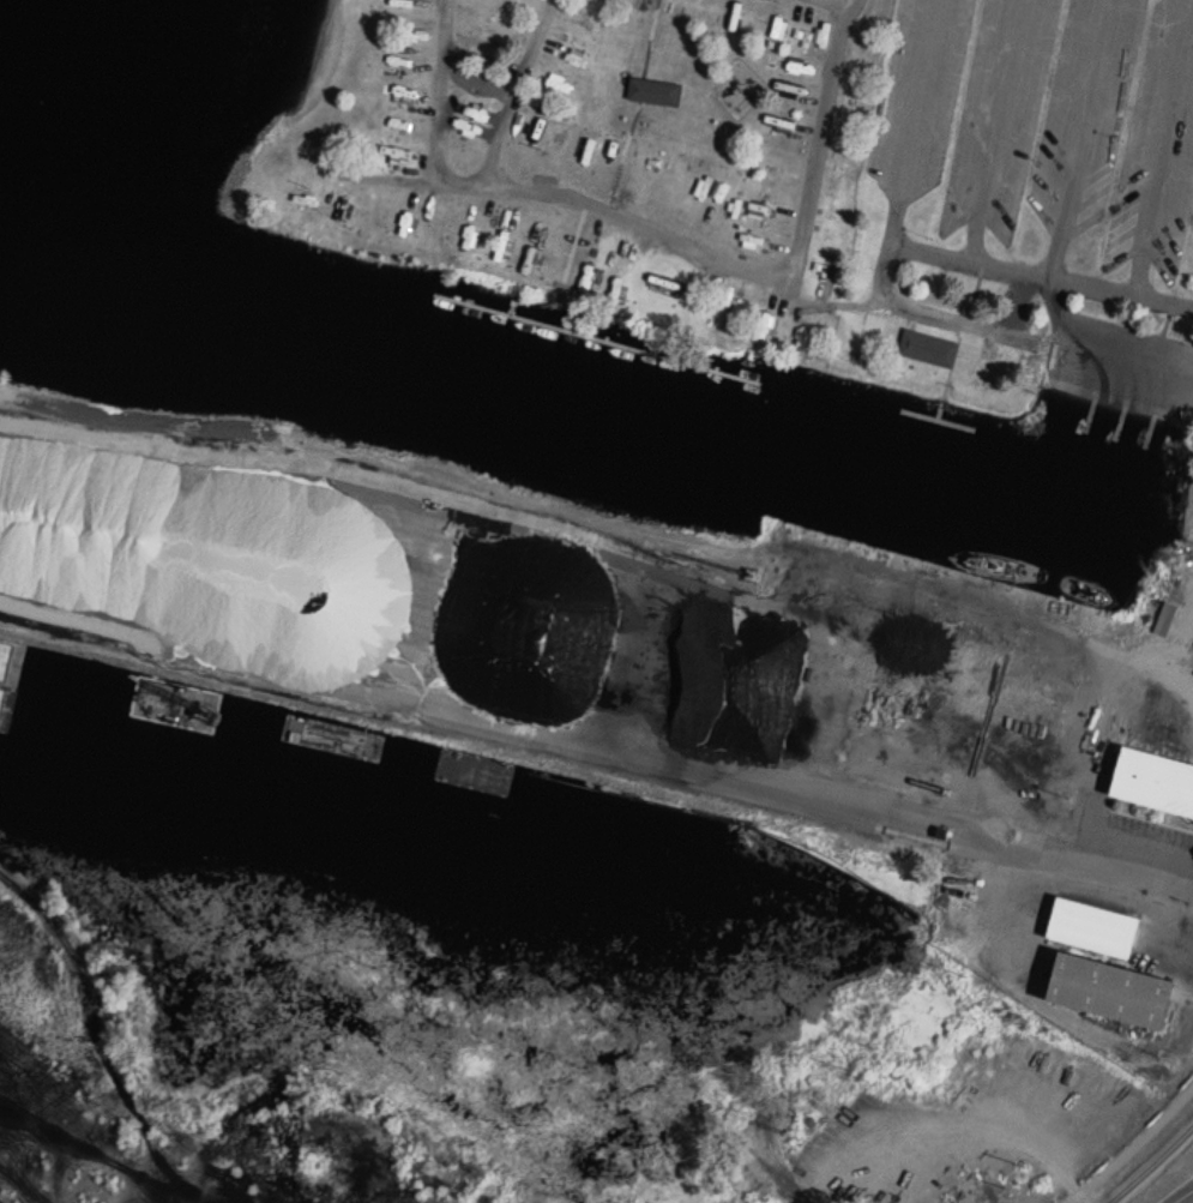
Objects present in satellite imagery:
road: (825, 6)
building: (657, 91)
road: (429, 122)
road: (995, 128)
parking lot: (1038, 128)
road: (1079, 137)
road: (819, 145)
road: (1162, 145)
road: (391, 178)
road: (596, 216)
road: (921, 247)
road: (1010, 336)
building: (930, 350)
building: (1157, 780)
road: (1144, 872)
building: (1099, 926)
building: (1119, 990)
road: (1129, 1147)
railway: (1150, 1163)
road: (1183, 1196)

